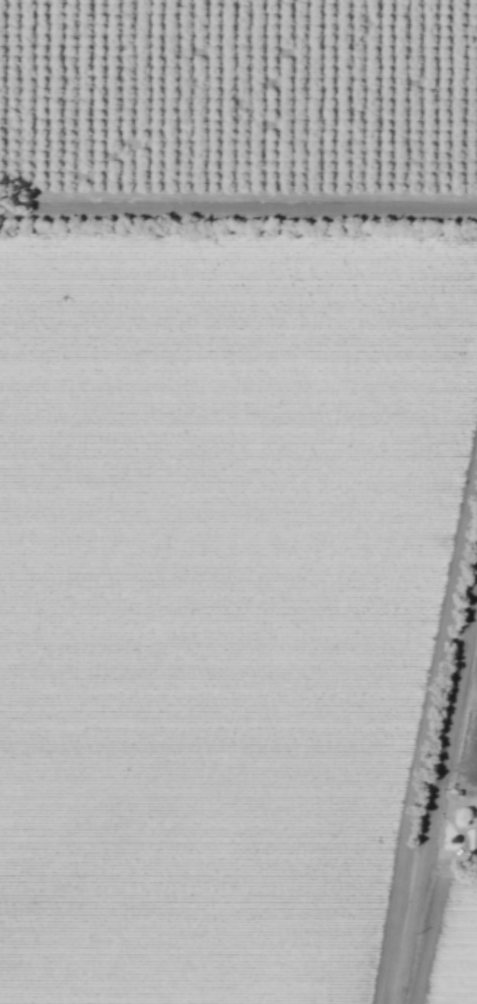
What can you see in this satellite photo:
road: (238, 216)
road: (465, 765)
road: (458, 804)
road: (437, 827)

